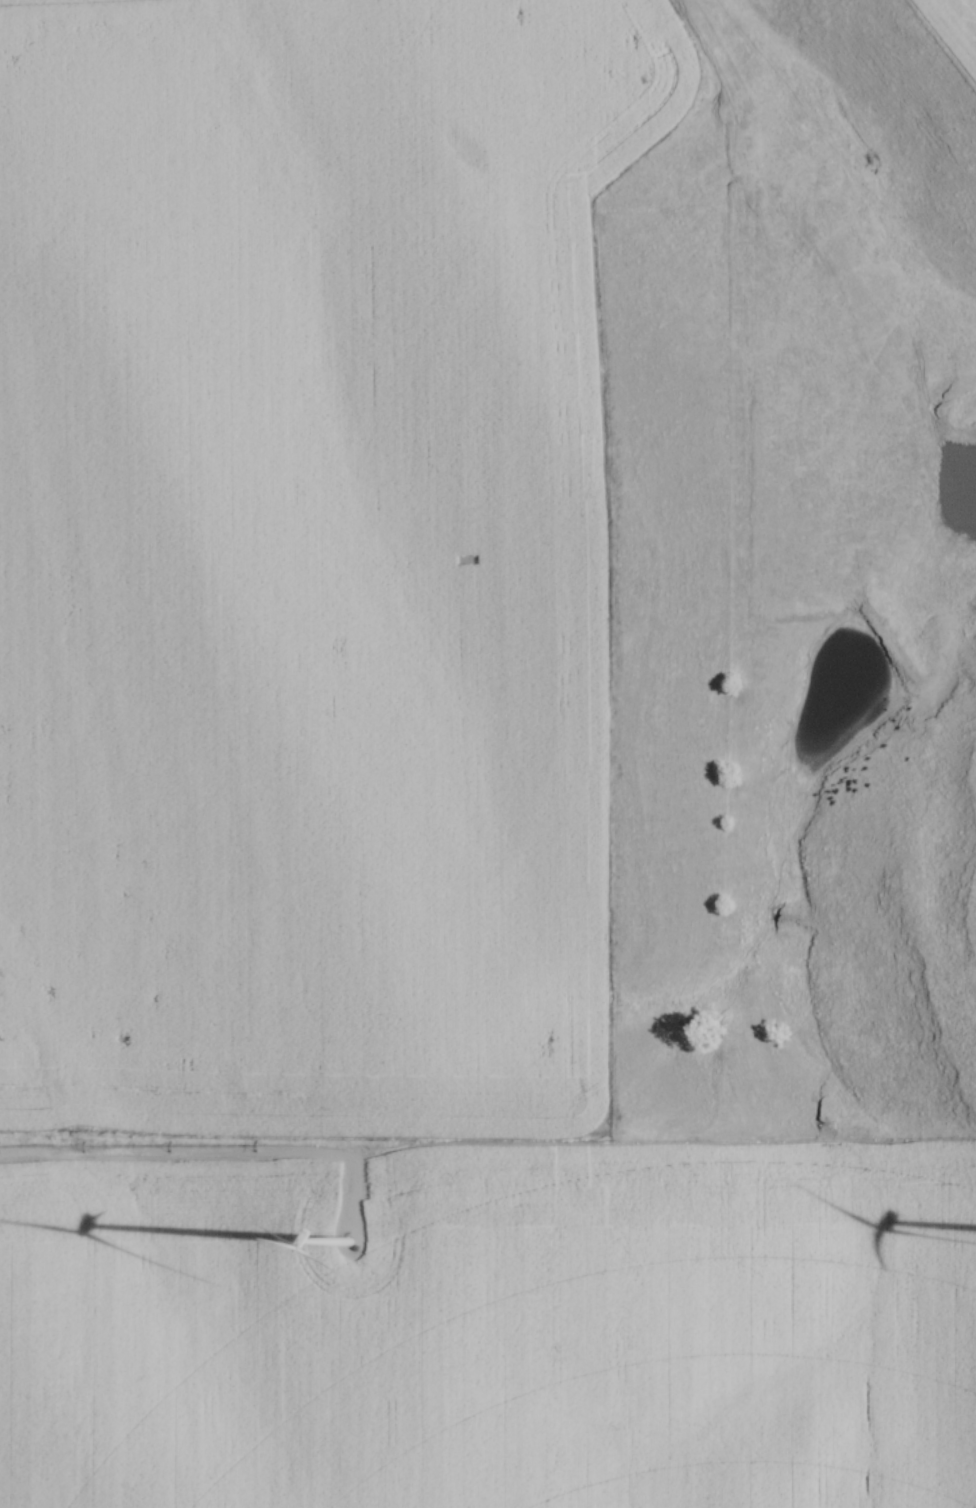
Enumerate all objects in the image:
road: (206, 1152)
wind turbine: (348, 1240)

